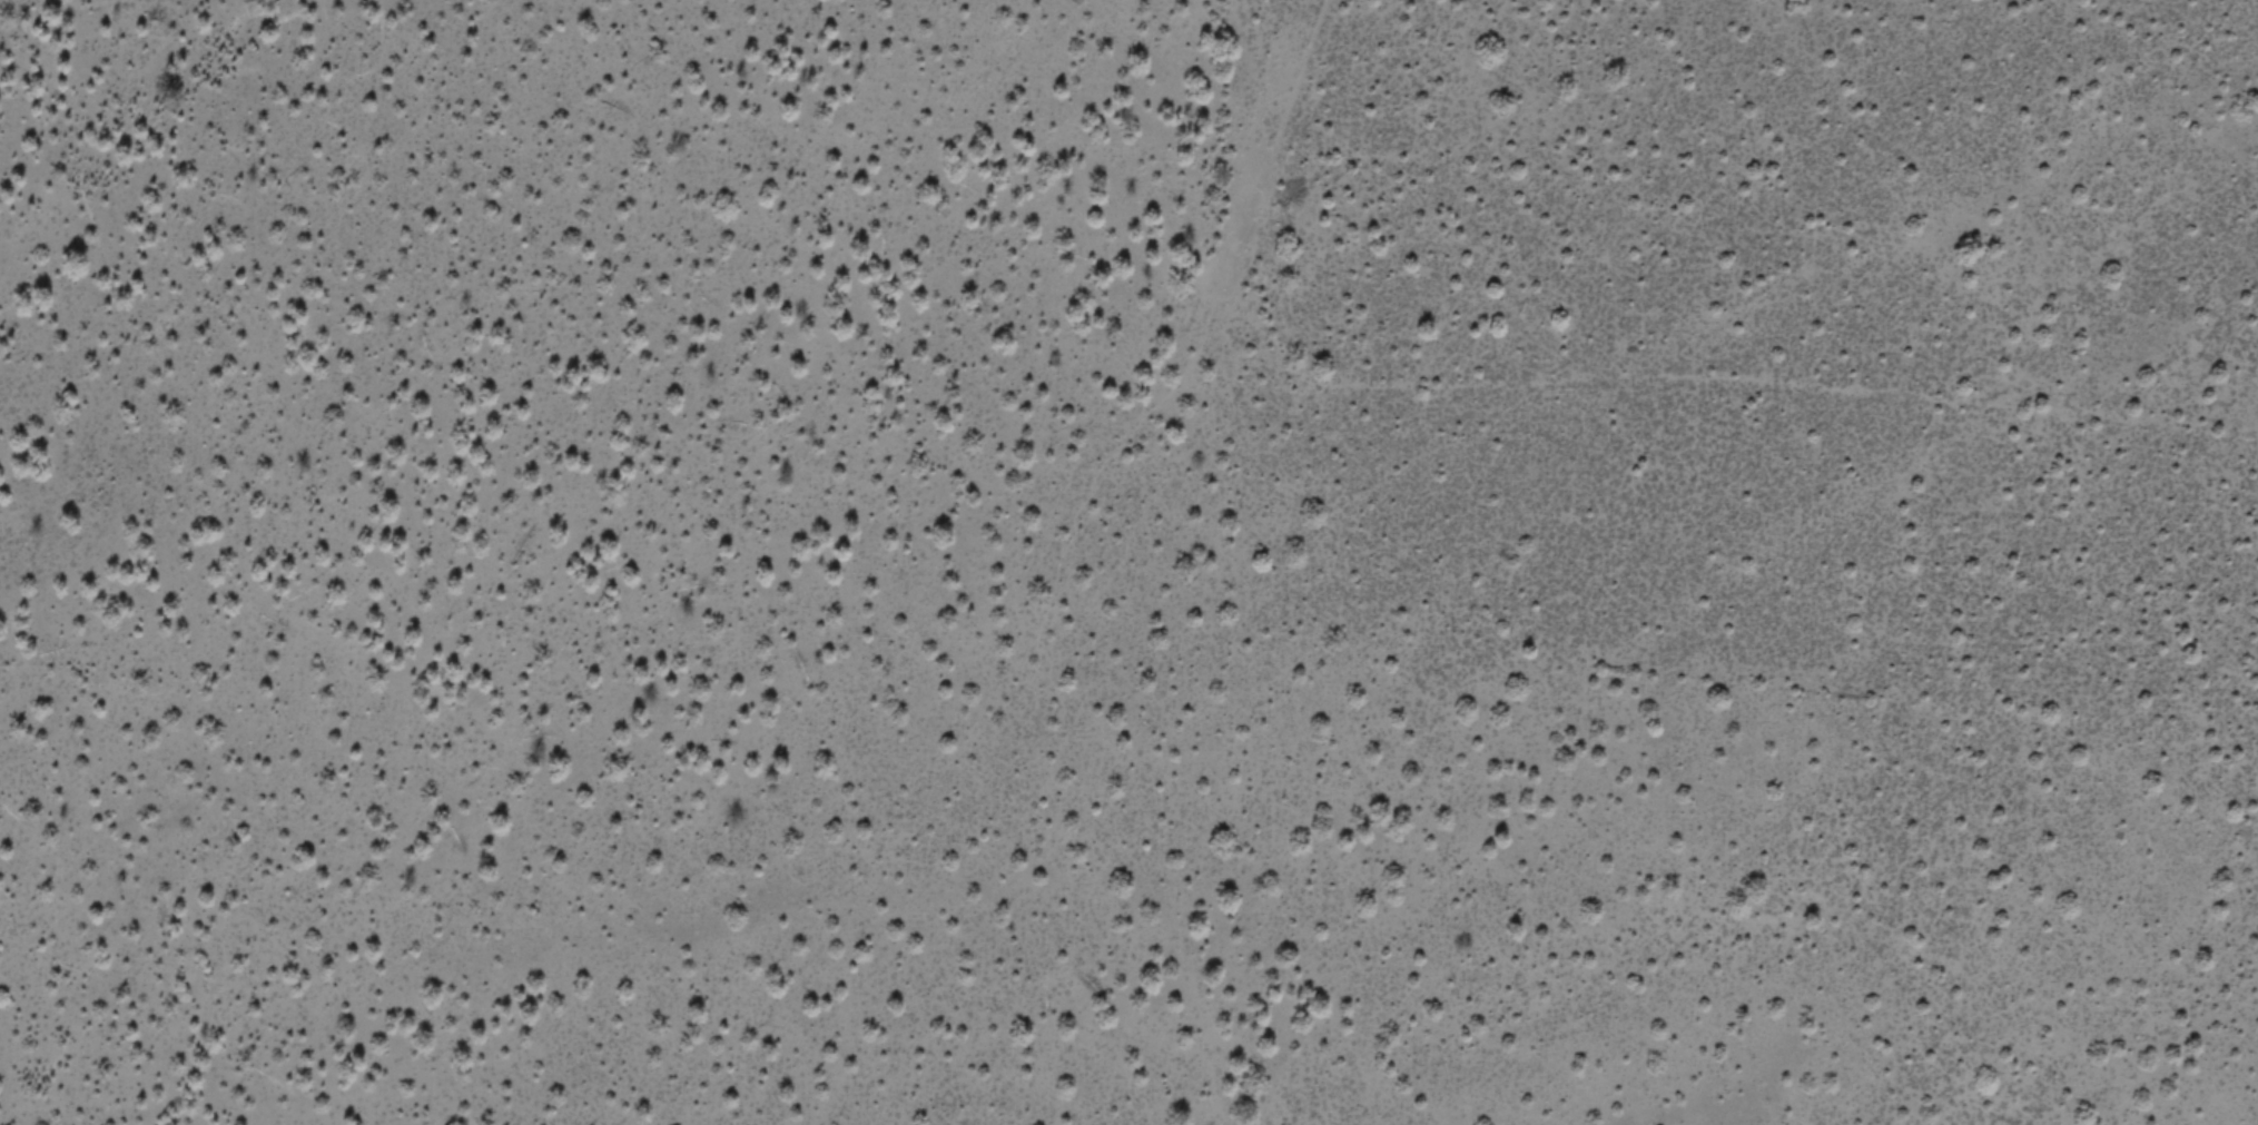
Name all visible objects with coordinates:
airport runway: (1288, 97)

